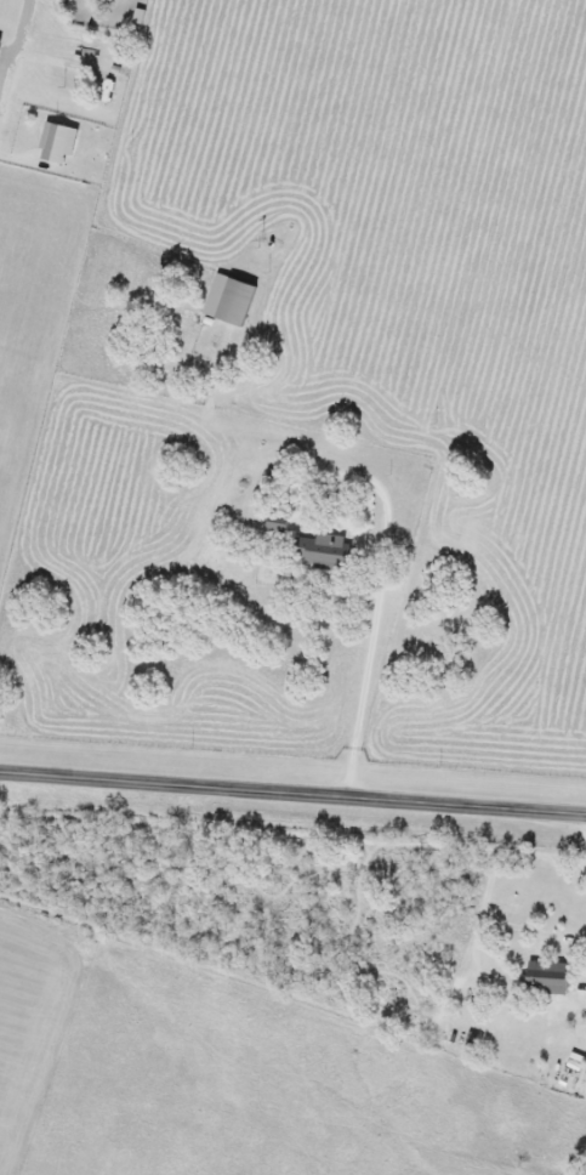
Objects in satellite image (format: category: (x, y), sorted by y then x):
building: (0, 46)
building: (58, 143)
building: (231, 299)
building: (324, 550)
road: (369, 651)
road: (292, 795)
road: (574, 935)
building: (548, 976)

